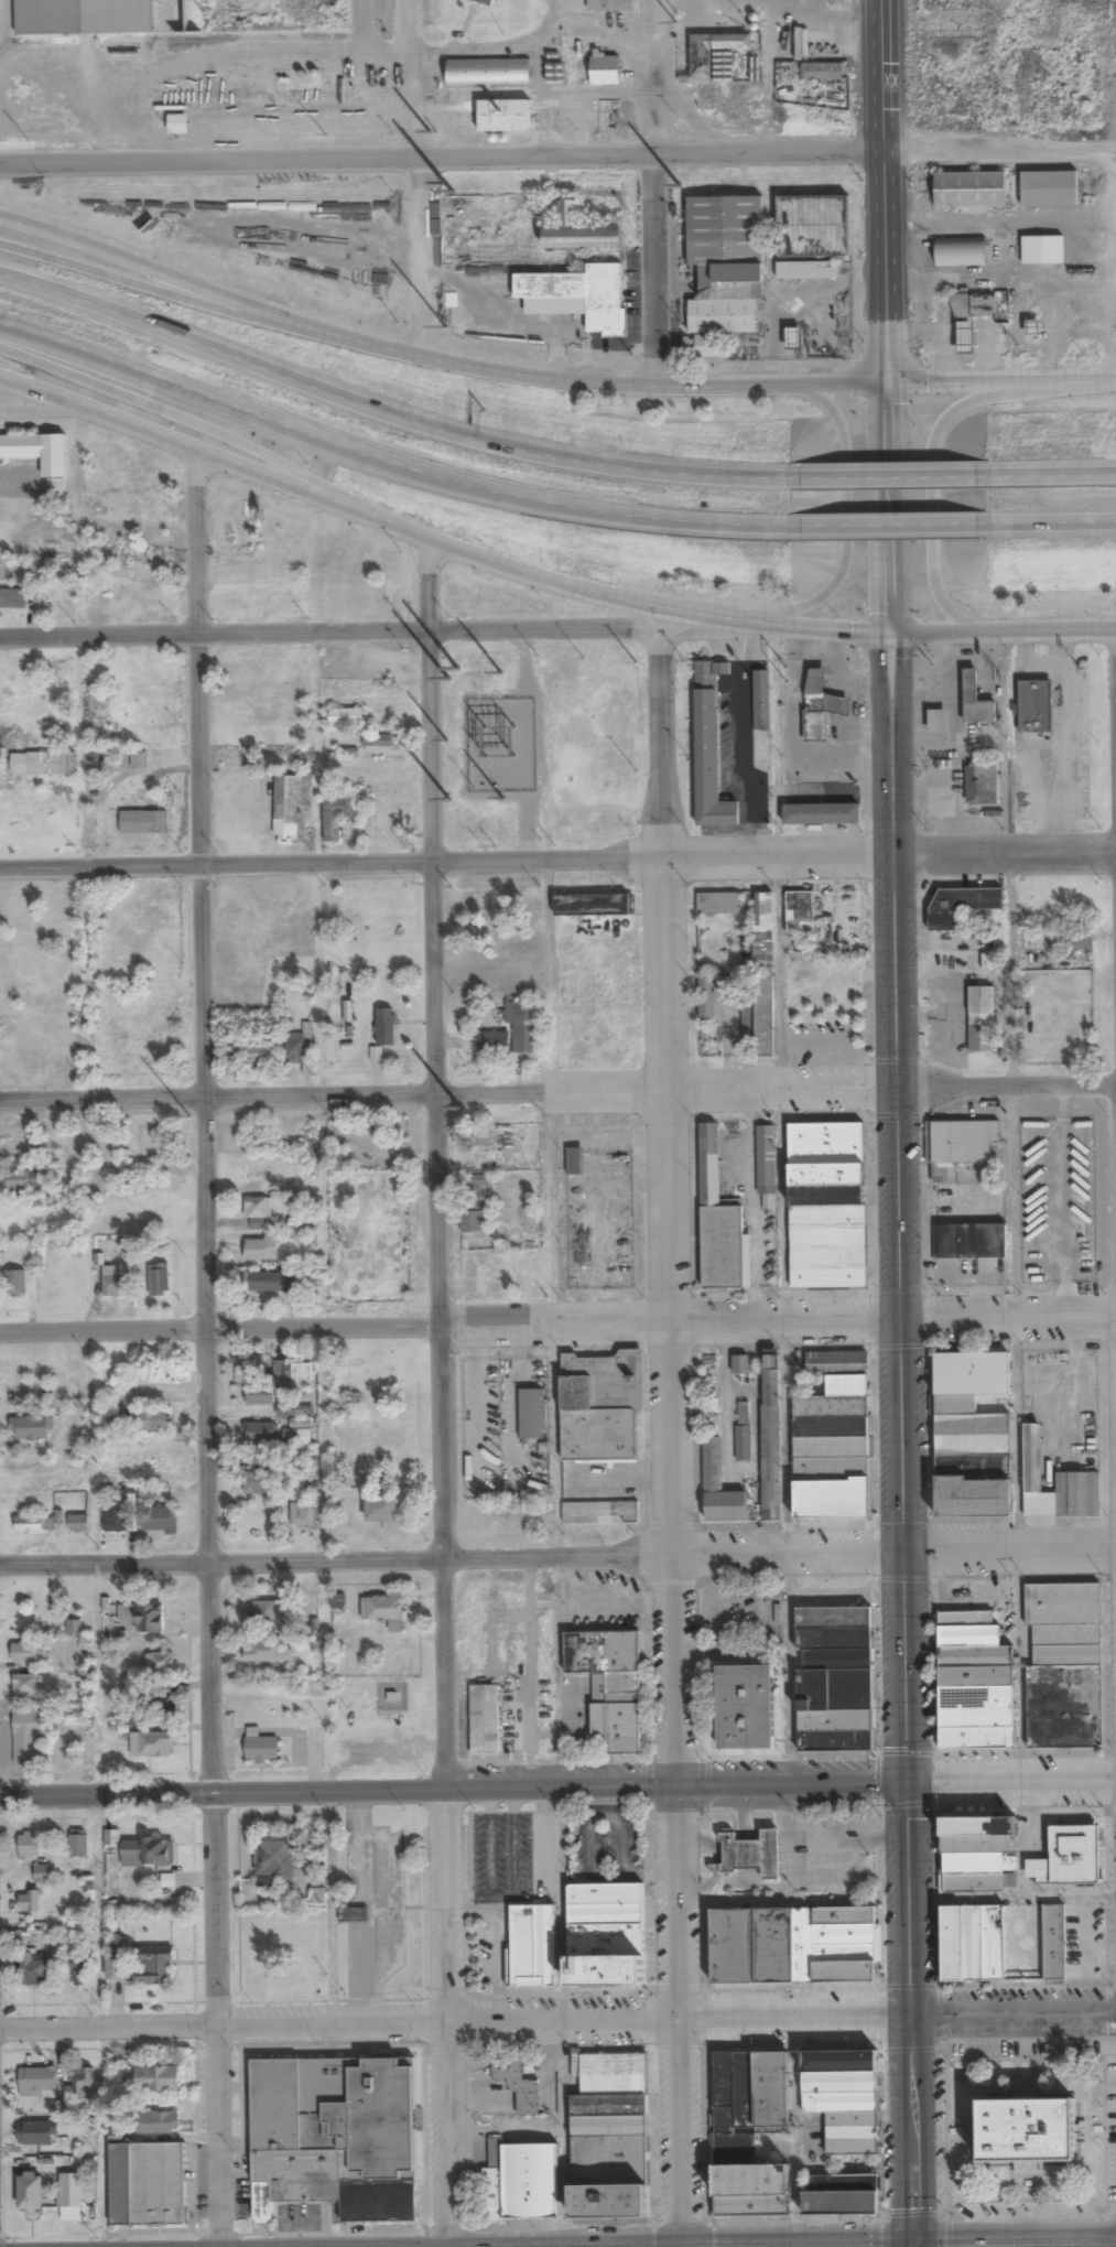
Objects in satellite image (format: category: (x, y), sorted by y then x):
building: (483, 2)
building: (609, 6)
building: (334, 15)
power tower: (675, 19)
building: (706, 56)
building: (605, 71)
building: (822, 73)
building: (488, 75)
building: (555, 75)
building: (608, 116)
building: (503, 117)
building: (177, 125)
power tower: (430, 130)
road: (557, 151)
road: (416, 180)
power tower: (447, 185)
power tower: (680, 186)
building: (1049, 190)
road: (880, 191)
building: (969, 191)
road: (653, 193)
building: (811, 227)
building: (578, 233)
building: (1042, 250)
building: (960, 252)
building: (725, 263)
building: (806, 271)
road: (156, 288)
building: (582, 294)
building: (974, 306)
power tower: (444, 324)
building: (965, 338)
road: (433, 360)
road: (1000, 378)
road: (382, 414)
road: (199, 425)
building: (40, 444)
road: (389, 460)
road: (1051, 475)
road: (887, 476)
road: (931, 496)
road: (887, 508)
road: (845, 514)
road: (1051, 525)
road: (887, 529)
road: (436, 541)
building: (12, 599)
road: (377, 630)
road: (1003, 631)
power tower: (502, 670)
power tower: (451, 671)
building: (762, 689)
building: (976, 694)
gas station: (976, 694)
building: (1033, 707)
building: (346, 717)
building: (936, 721)
power tower: (445, 739)
building: (711, 739)
power substation: (501, 743)
building: (138, 760)
building: (64, 765)
building: (982, 785)
power tower: (449, 797)
power tower: (505, 798)
building: (823, 806)
building: (286, 812)
building: (338, 818)
building: (143, 823)
road: (557, 860)
road: (890, 860)
building: (717, 904)
building: (595, 905)
building: (961, 906)
building: (799, 912)
building: (474, 931)
building: (762, 931)
building: (1071, 941)
building: (988, 963)
building: (707, 998)
building: (141, 1008)
building: (105, 1014)
building: (763, 1016)
building: (982, 1020)
building: (384, 1026)
building: (521, 1028)
building: (492, 1044)
building: (159, 1047)
building: (297, 1048)
building: (251, 1055)
road: (557, 1088)
power tower: (461, 1106)
power tower: (191, 1115)
building: (962, 1153)
building: (574, 1160)
building: (766, 1166)
building: (23, 1180)
building: (476, 1207)
building: (258, 1208)
building: (824, 1208)
building: (719, 1223)
building: (968, 1240)
building: (261, 1249)
building: (158, 1279)
building: (111, 1282)
building: (15, 1283)
building: (272, 1283)
road: (557, 1324)
road: (207, 1349)
building: (740, 1364)
building: (293, 1371)
road: (440, 1393)
building: (259, 1396)
building: (600, 1408)
building: (286, 1411)
building: (531, 1414)
road: (670, 1416)
building: (150, 1422)
building: (30, 1428)
building: (743, 1430)
building: (830, 1432)
building: (259, 1433)
building: (971, 1433)
building: (296, 1437)
building: (771, 1444)
building: (155, 1462)
building: (262, 1479)
building: (1055, 1484)
building: (719, 1488)
building: (381, 1509)
building: (301, 1515)
building: (116, 1516)
building: (159, 1519)
building: (79, 1523)
building: (29, 1525)
road: (557, 1556)
building: (384, 1609)
building: (263, 1611)
building: (150, 1619)
building: (266, 1651)
building: (29, 1653)
building: (1062, 1662)
building: (159, 1663)
road: (901, 1666)
building: (835, 1668)
building: (975, 1675)
building: (609, 1684)
building: (28, 1687)
building: (161, 1704)
building: (746, 1707)
building: (485, 1720)
building: (26, 1738)
building: (151, 1744)
building: (261, 1749)
traffic signals: (903, 1782)
road: (557, 1787)
building: (78, 1845)
building: (30, 1847)
building: (148, 1854)
building: (976, 1854)
building: (751, 1855)
building: (1069, 1857)
building: (275, 1860)
building: (42, 1875)
building: (29, 1902)
building: (792, 1944)
building: (531, 1946)
building: (1005, 1946)
building: (152, 1966)
building: (33, 1969)
building: (79, 1969)
building: (115, 1969)
building: (605, 1970)
road: (557, 2020)
building: (158, 2079)
building: (37, 2081)
building: (839, 2082)
building: (82, 2084)
building: (517, 2084)
building: (158, 2122)
building: (606, 2130)
building: (1028, 2132)
building: (37, 2133)
building: (725, 2135)
building: (852, 2135)
building: (335, 2137)
building: (529, 2180)
building: (147, 2184)
building: (31, 2192)
building: (841, 2194)
road: (952, 2245)
traffic signals: (910, 2246)

